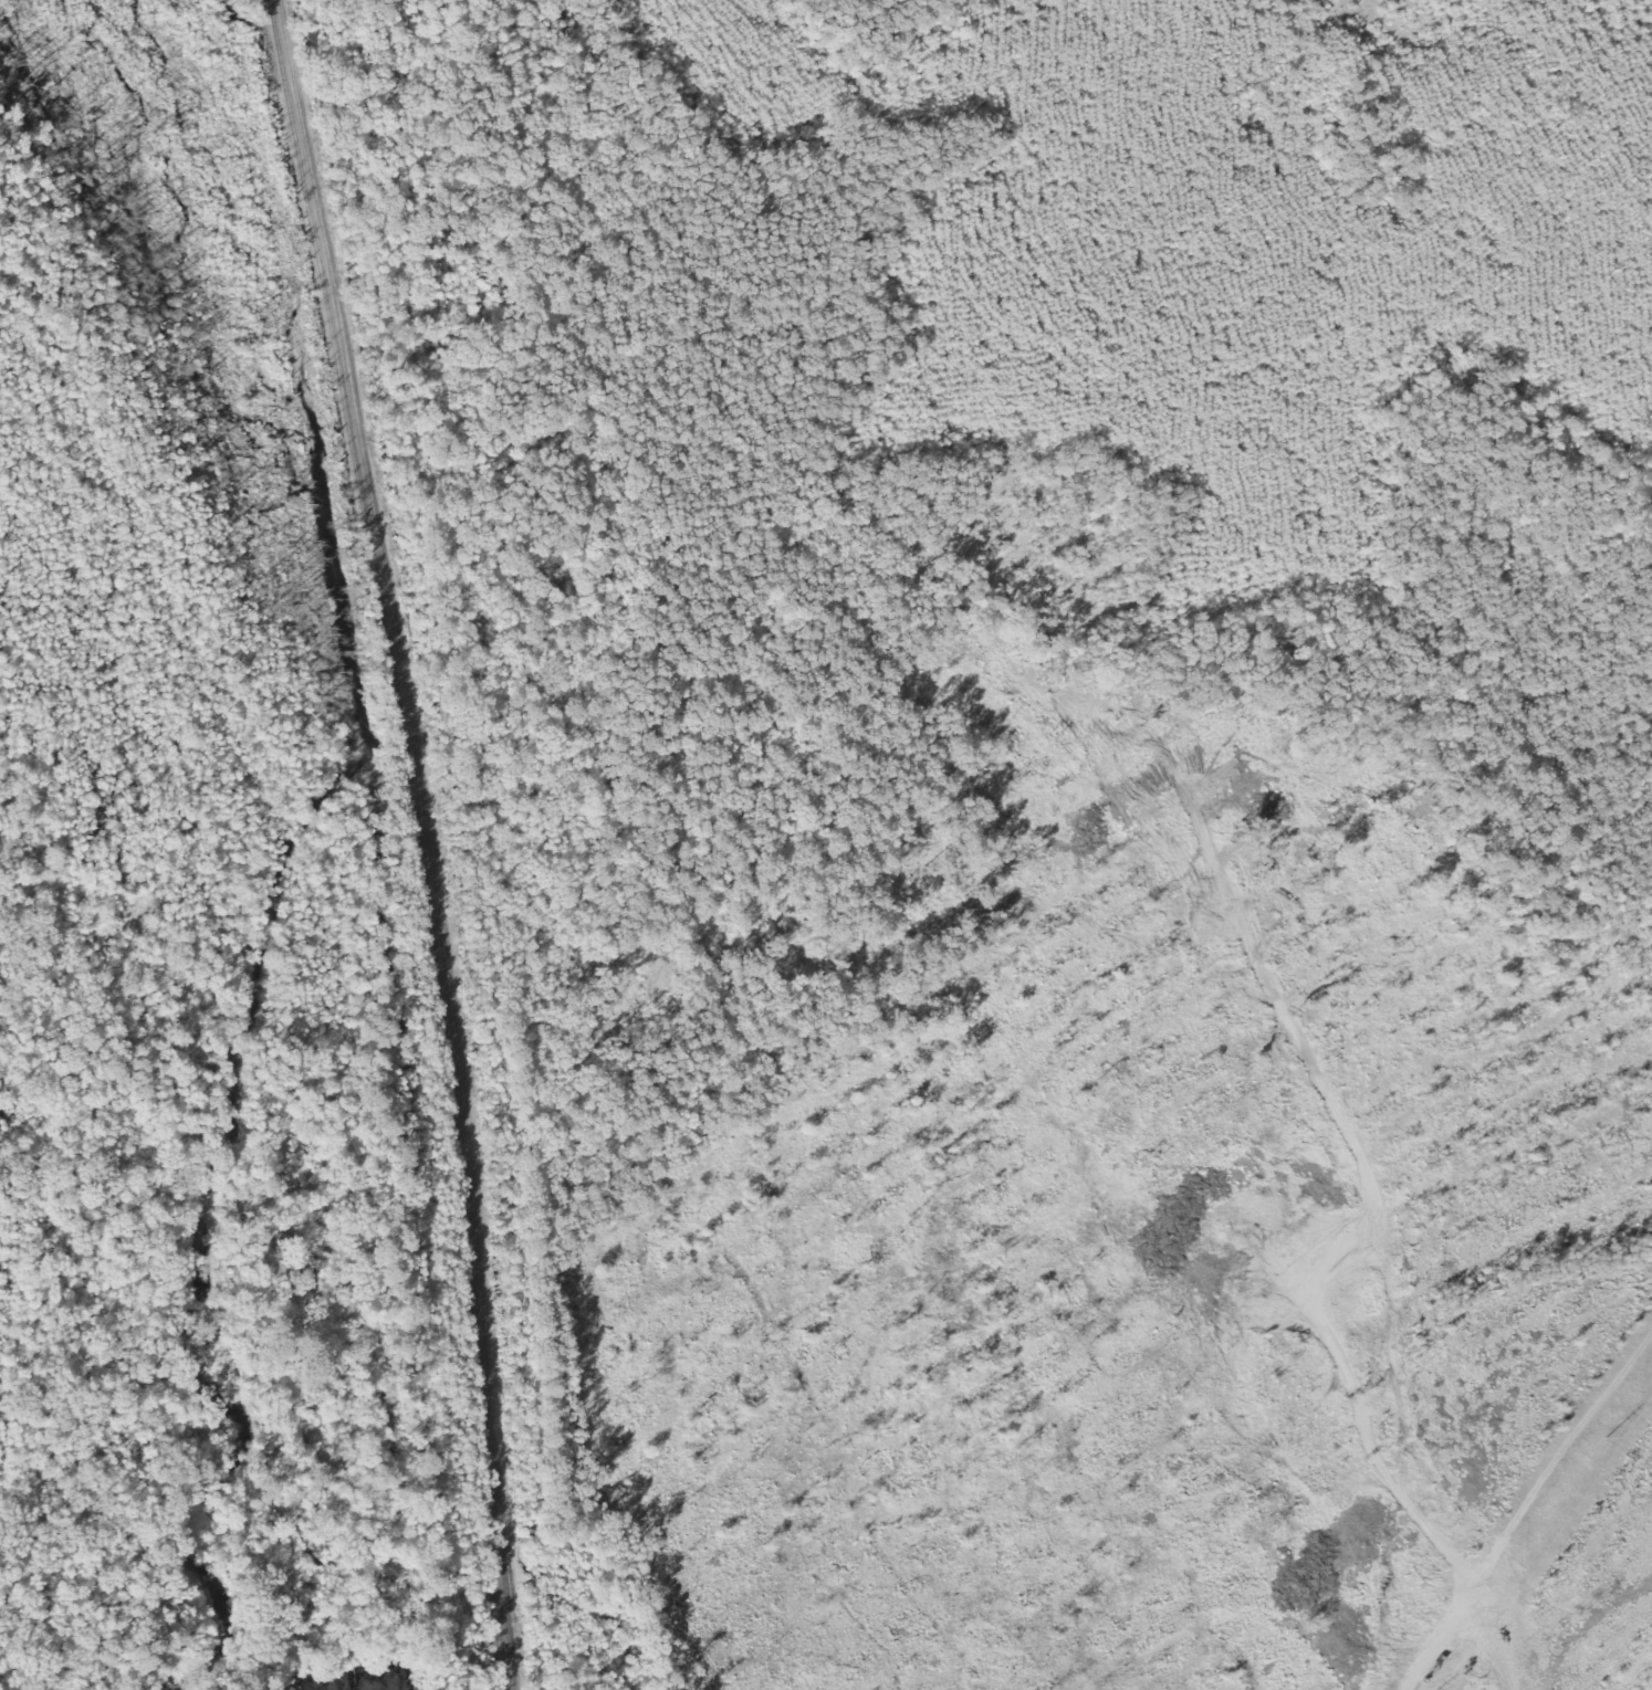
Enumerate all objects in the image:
railway: (431, 839)
railway: (416, 840)

